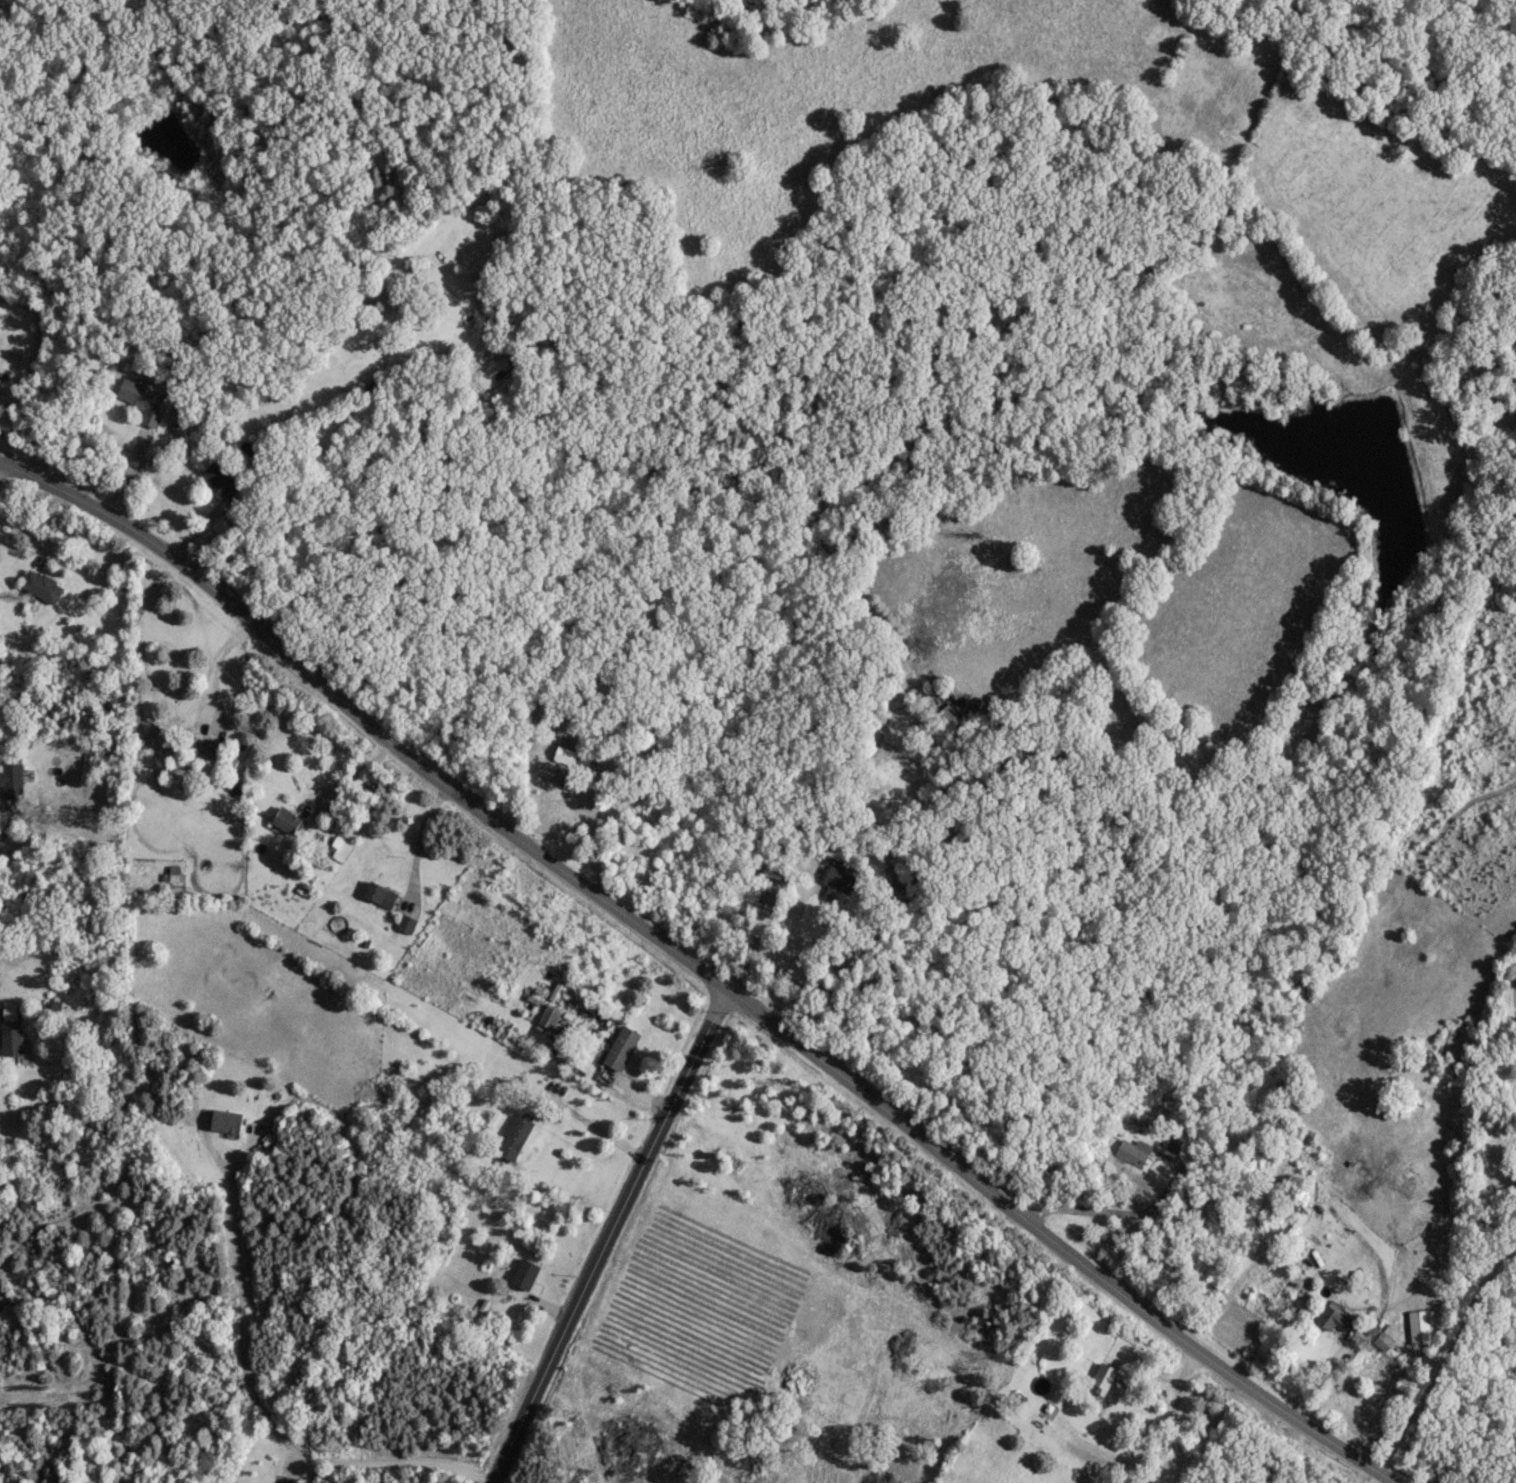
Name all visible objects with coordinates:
building: (919, 237)
building: (371, 385)
building: (140, 397)
building: (1285, 402)
building: (220, 478)
road: (32, 536)
building: (39, 585)
road: (212, 665)
building: (946, 718)
road: (363, 720)
building: (211, 751)
building: (568, 752)
building: (554, 775)
road: (345, 777)
building: (10, 779)
building: (284, 819)
road: (7, 821)
road: (590, 828)
road: (825, 828)
road: (417, 840)
building: (835, 880)
building: (744, 889)
building: (378, 894)
building: (404, 922)
building: (546, 1015)
building: (8, 1031)
building: (619, 1045)
building: (223, 1119)
road: (594, 1124)
building: (512, 1135)
building: (1131, 1150)
road: (1086, 1193)
building: (1293, 1200)
road: (602, 1234)
road: (1055, 1242)
building: (521, 1272)
building: (1330, 1317)
building: (1417, 1325)
building: (1384, 1335)
road: (1445, 1369)
building: (1100, 1377)
road: (252, 1394)

